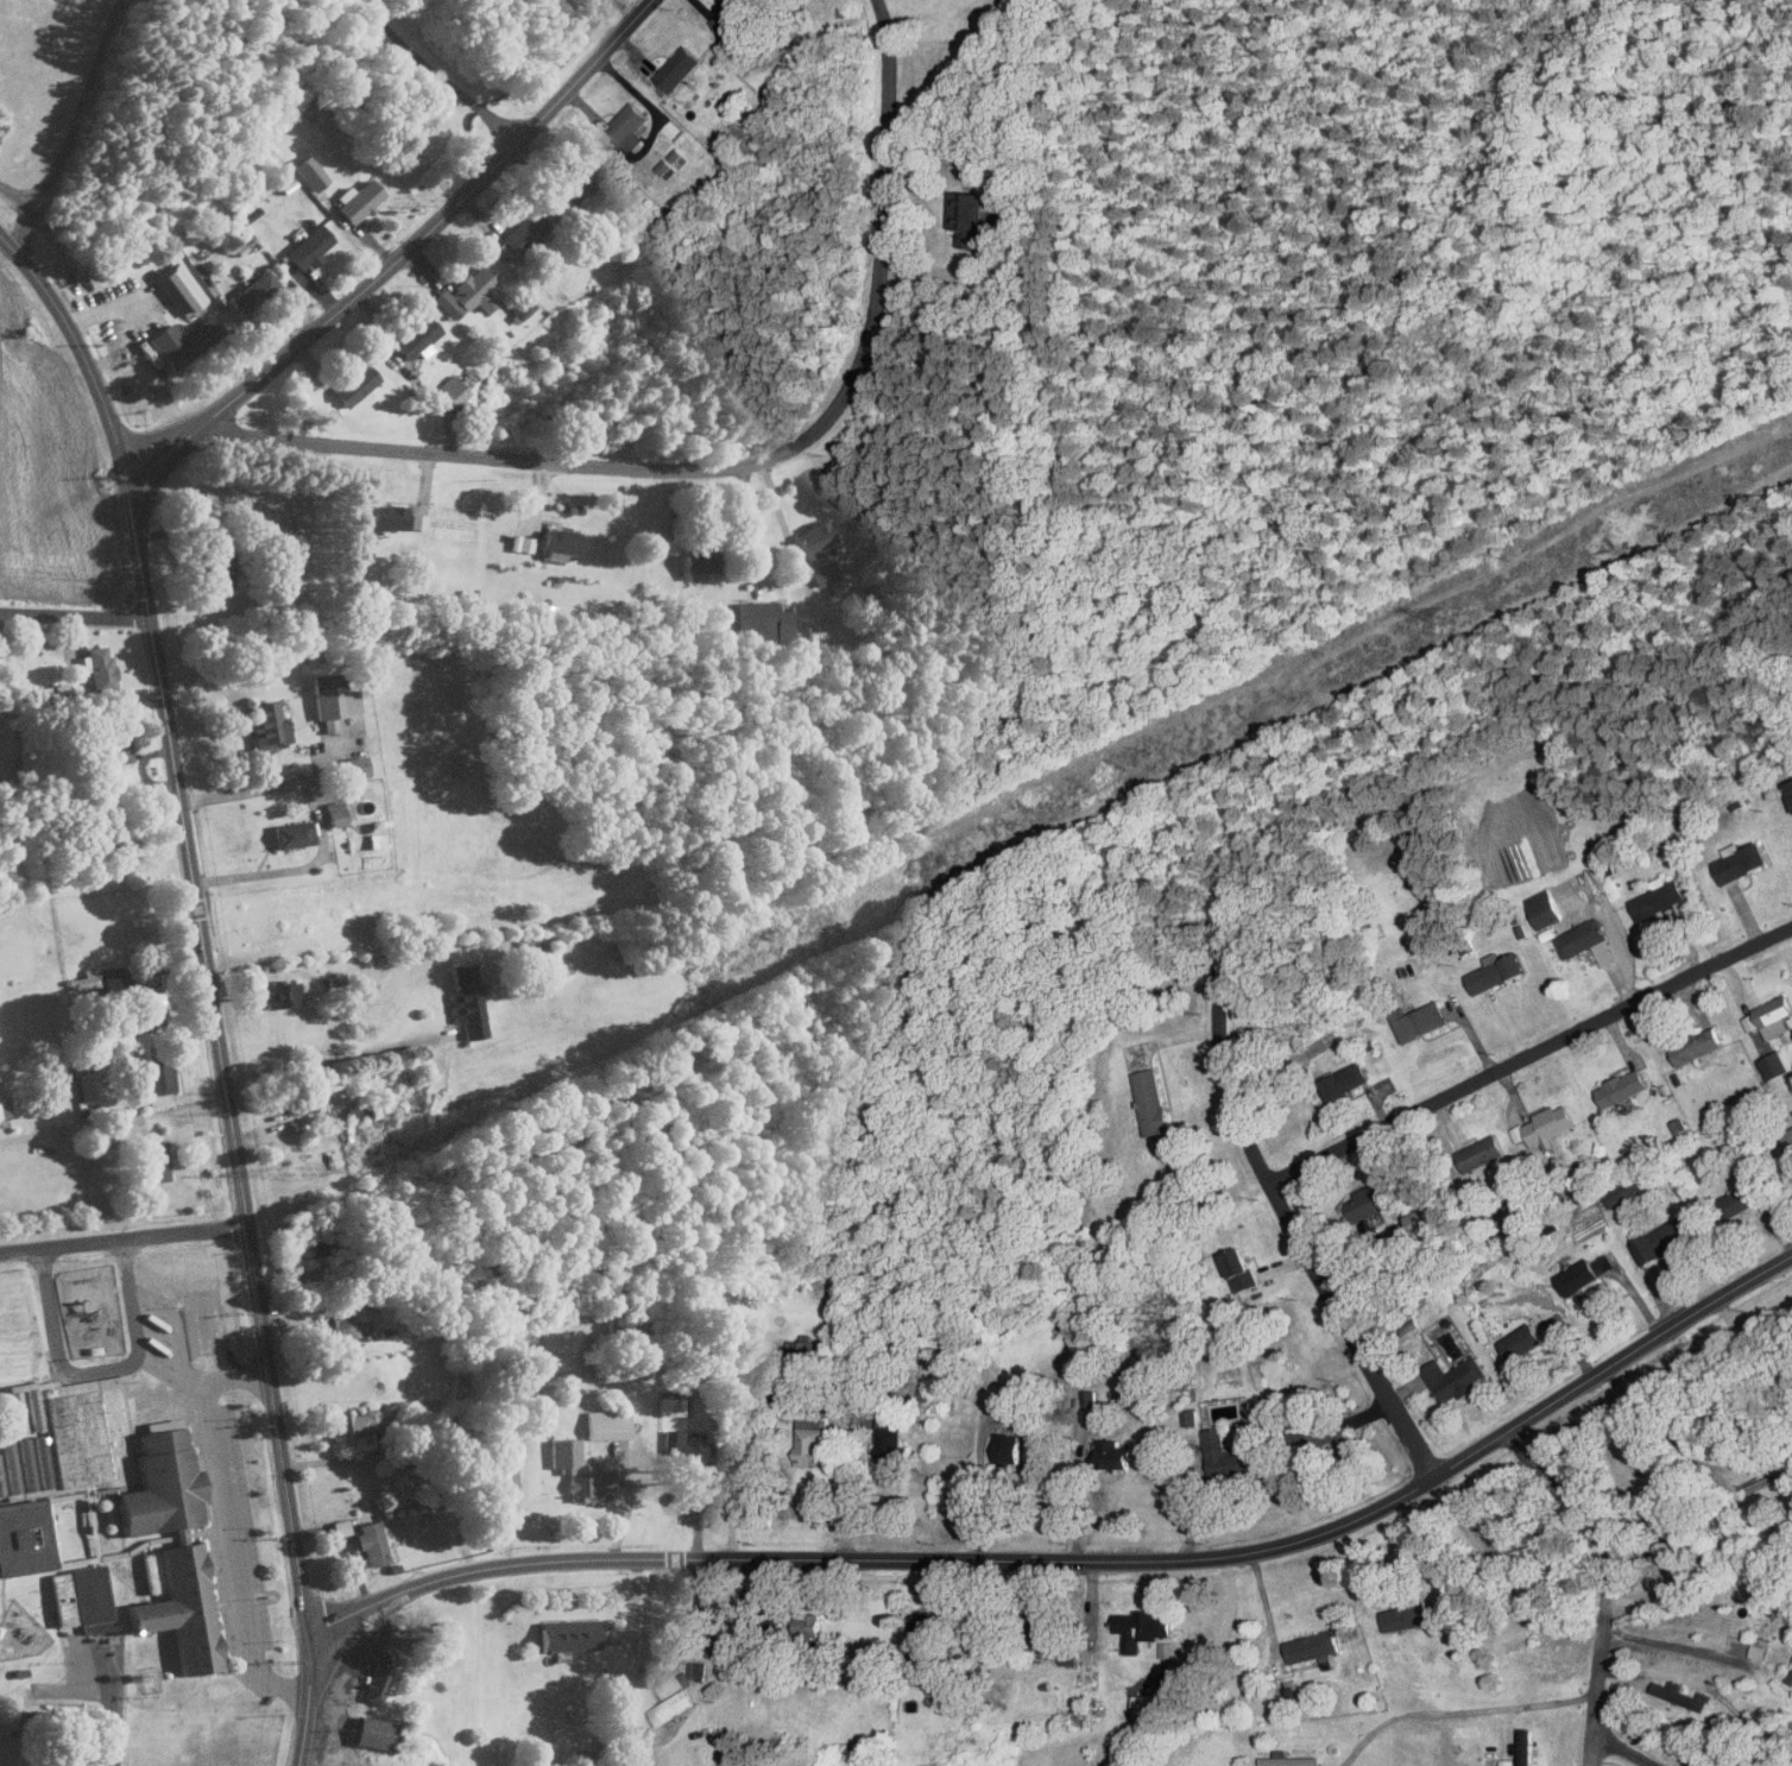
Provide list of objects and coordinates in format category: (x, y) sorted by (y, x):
building: (731, 14)
building: (676, 69)
road: (437, 75)
building: (625, 124)
building: (673, 130)
building: (677, 157)
building: (665, 166)
building: (308, 170)
building: (576, 176)
building: (356, 197)
building: (967, 215)
building: (517, 234)
building: (308, 245)
road: (398, 253)
building: (134, 282)
building: (178, 286)
building: (253, 290)
building: (465, 291)
road: (45, 297)
building: (519, 304)
road: (113, 309)
building: (414, 335)
building: (182, 339)
building: (496, 343)
road: (408, 372)
building: (353, 383)
building: (450, 389)
road: (730, 466)
road: (774, 504)
building: (386, 516)
building: (416, 519)
road: (751, 523)
building: (284, 531)
building: (814, 535)
building: (519, 542)
building: (557, 542)
building: (698, 559)
building: (796, 563)
building: (221, 567)
building: (822, 572)
building: (761, 611)
road: (72, 614)
power tower: (1441, 617)
building: (97, 664)
building: (332, 695)
building: (267, 724)
building: (327, 724)
building: (114, 745)
building: (355, 764)
building: (1791, 784)
road: (264, 786)
building: (337, 811)
building: (292, 833)
building: (374, 839)
building: (1742, 860)
power tower: (939, 862)
road: (270, 871)
building: (1662, 903)
building: (1545, 908)
building: (1586, 941)
building: (1496, 971)
building: (89, 975)
building: (280, 992)
building: (144, 996)
building: (466, 998)
building: (1775, 1015)
building: (1419, 1020)
building: (1752, 1022)
building: (1696, 1046)
road: (1528, 1052)
road: (329, 1058)
road: (216, 1059)
building: (1774, 1065)
building: (156, 1079)
building: (1344, 1081)
building: (87, 1085)
building: (1622, 1086)
building: (1151, 1102)
building: (2, 1106)
building: (354, 1111)
building: (1545, 1124)
building: (1788, 1139)
building: (1482, 1153)
building: (154, 1160)
power tower: (303, 1169)
building: (1621, 1192)
building: (1746, 1197)
building: (1373, 1198)
road: (1280, 1207)
building: (1422, 1217)
road: (121, 1236)
building: (310, 1242)
building: (1661, 1242)
building: (1241, 1272)
building: (1579, 1276)
building: (345, 1323)
building: (384, 1332)
building: (1521, 1342)
road: (1754, 1352)
road: (97, 1369)
building: (1455, 1379)
building: (743, 1380)
building: (1087, 1398)
building: (675, 1404)
building: (31, 1408)
building: (14, 1411)
building: (353, 1424)
building: (605, 1424)
building: (74, 1433)
building: (809, 1437)
building: (889, 1439)
building: (680, 1448)
building: (1008, 1448)
building: (1113, 1455)
building: (1225, 1456)
road: (336, 1458)
road: (838, 1462)
building: (24, 1463)
building: (7, 1465)
building: (39, 1467)
building: (579, 1470)
building: (499, 1471)
road: (731, 1474)
building: (159, 1477)
road: (979, 1490)
building: (0, 1495)
road: (1077, 1503)
road: (227, 1522)
building: (337, 1527)
road: (1463, 1527)
building: (24, 1537)
building: (368, 1543)
building: (1527, 1552)
road: (1079, 1560)
road: (1609, 1578)
building: (78, 1597)
building: (181, 1609)
building: (1406, 1617)
building: (808, 1625)
building: (1041, 1625)
building: (1142, 1628)
building: (925, 1631)
building: (567, 1634)
building: (446, 1640)
road: (1668, 1645)
building: (1312, 1646)
building: (1759, 1647)
building: (1166, 1650)
building: (378, 1673)
building: (1790, 1678)
road: (1708, 1684)
building: (1680, 1695)
building: (1149, 1704)
building: (671, 1707)
road: (1460, 1709)
road: (113, 1713)
building: (371, 1732)
road: (1619, 1753)
building: (579, 1755)
building: (1286, 1760)
building: (1506, 1762)
building: (56, 1764)

